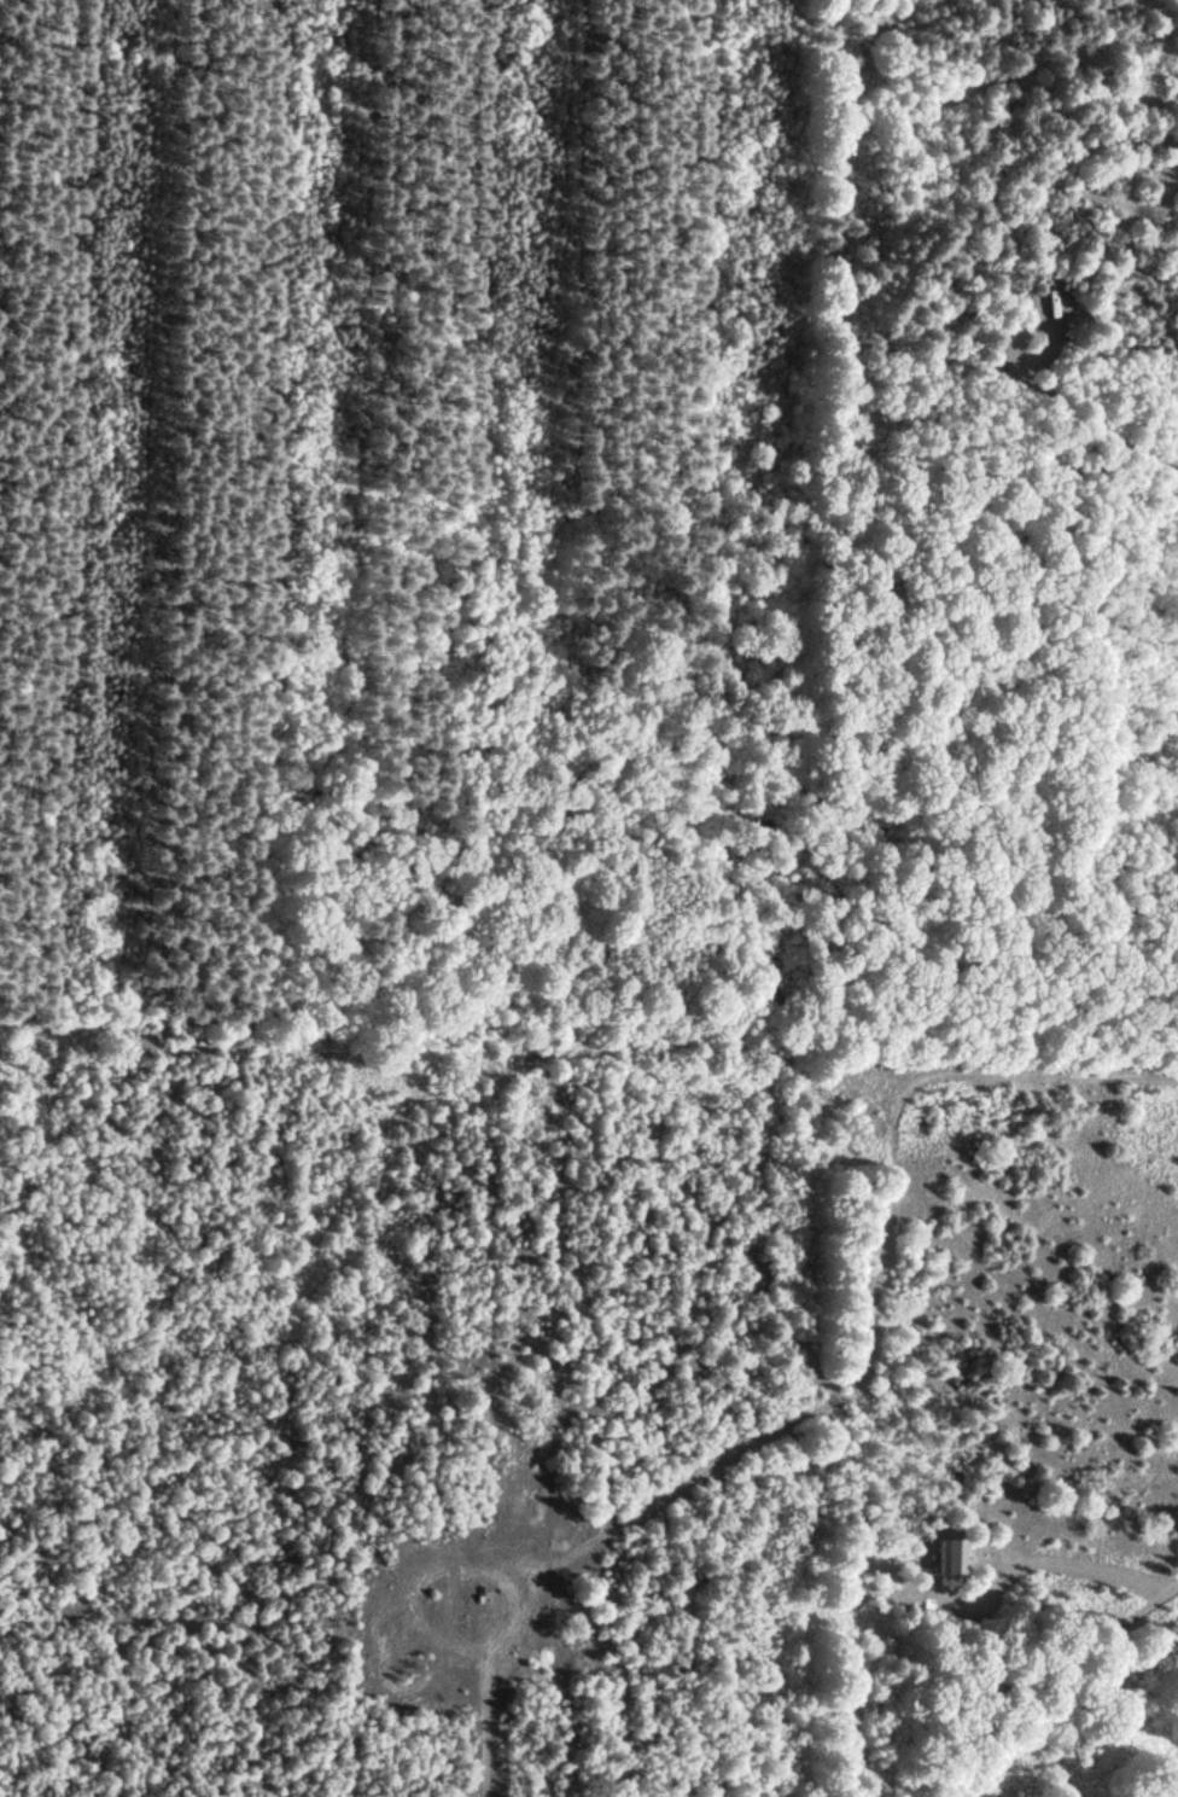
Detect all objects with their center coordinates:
road: (588, 1072)
road: (839, 1437)

